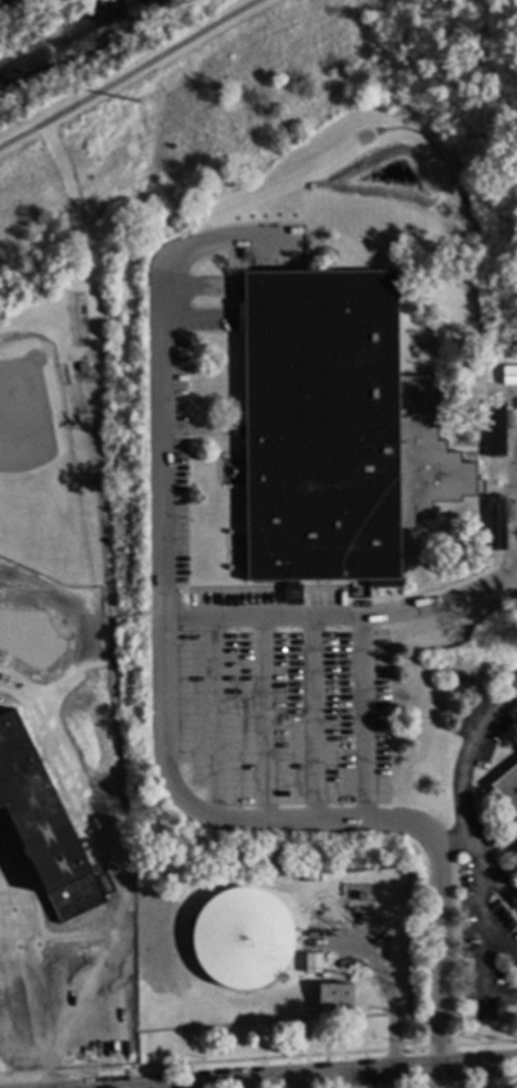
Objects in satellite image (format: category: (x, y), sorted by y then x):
road: (130, 74)
power tower: (136, 102)
park: (164, 109)
road: (87, 265)
building: (82, 369)
building: (331, 431)
road: (164, 442)
park: (37, 461)
road: (503, 467)
road: (510, 558)
building: (291, 595)
road: (136, 615)
road: (360, 718)
road: (118, 728)
road: (168, 777)
building: (507, 790)
road: (459, 799)
road: (452, 841)
building: (514, 861)
building: (359, 897)
building: (352, 898)
road: (475, 925)
road: (73, 936)
building: (239, 938)
storage tank: (239, 938)
building: (310, 964)
road: (35, 968)
building: (15, 979)
building: (333, 1002)
road: (373, 1077)

